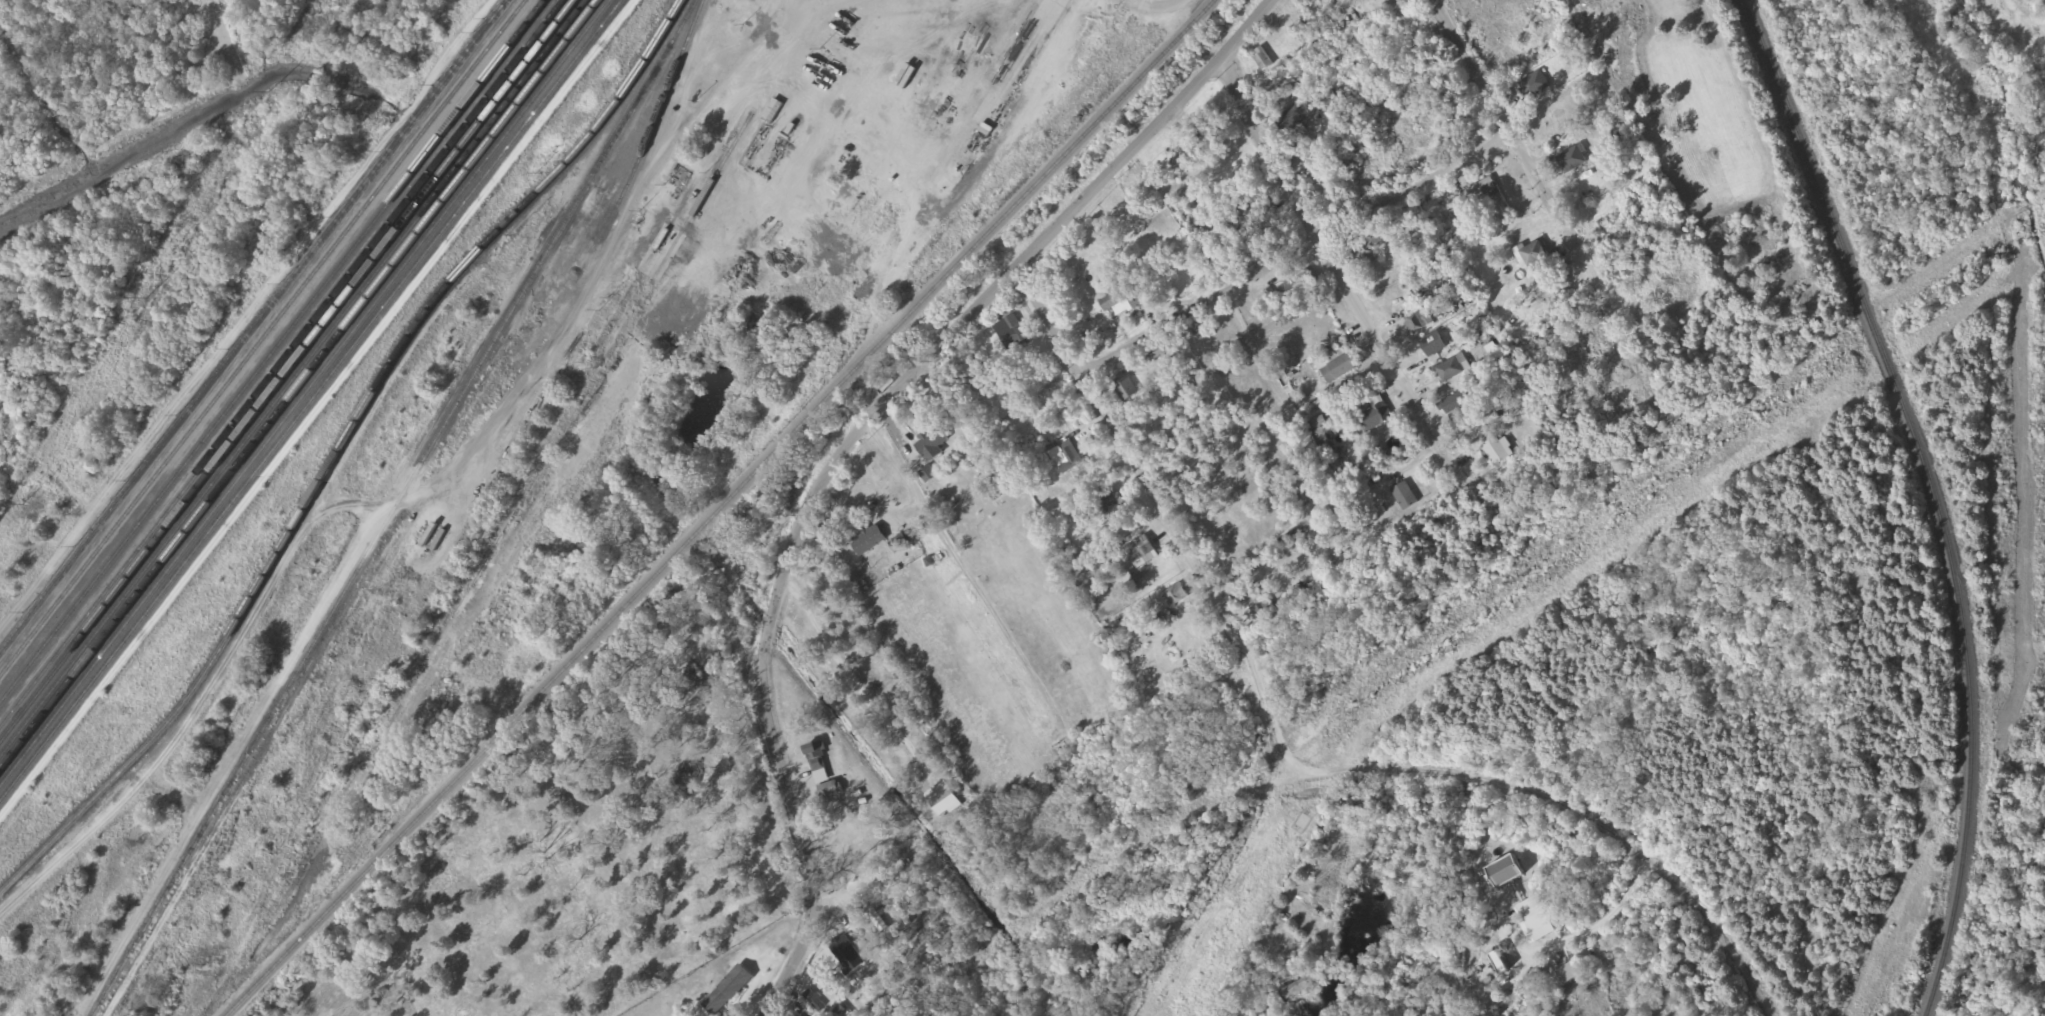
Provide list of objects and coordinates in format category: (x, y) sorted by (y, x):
road: (1155, 10)
power tower: (266, 92)
building: (1448, 104)
building: (773, 113)
building: (1293, 119)
railway: (652, 131)
building: (1212, 136)
road: (1513, 144)
building: (1573, 160)
building: (1248, 213)
building: (1367, 248)
road: (1295, 252)
building: (1534, 258)
building: (1134, 275)
road: (1336, 277)
building: (1146, 297)
power tower: (145, 299)
building: (1115, 305)
railway: (254, 326)
building: (1009, 335)
railway: (265, 340)
railway: (274, 352)
railway: (282, 365)
building: (1338, 368)
building: (1453, 369)
building: (1125, 388)
building: (1454, 404)
building: (1372, 421)
road: (850, 440)
building: (932, 445)
railway: (341, 447)
road: (1125, 448)
building: (1497, 454)
building: (1065, 457)
building: (986, 463)
railway: (1931, 486)
road: (443, 489)
building: (1405, 497)
power tower: (22, 507)
railway: (394, 507)
building: (1111, 508)
railway: (725, 513)
building: (903, 541)
building: (868, 542)
building: (1140, 550)
road: (974, 571)
building: (1176, 596)
building: (1265, 612)
railway: (1464, 622)
railway: (1383, 766)
building: (830, 791)
building: (1507, 873)
railway: (1988, 878)
building: (842, 948)
building: (1301, 988)
building: (728, 991)
railway: (1928, 1008)

